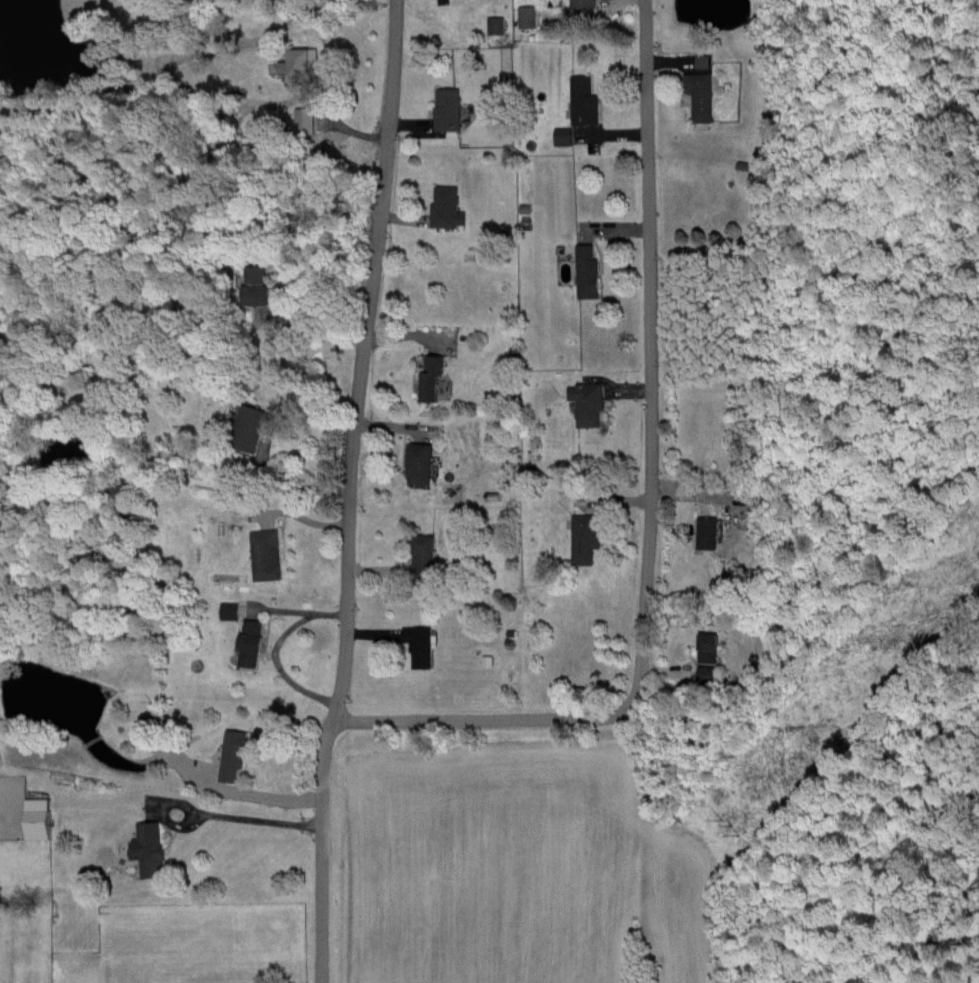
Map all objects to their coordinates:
building: (581, 3)
building: (525, 16)
building: (494, 25)
building: (702, 61)
building: (300, 64)
building: (699, 95)
building: (582, 100)
building: (446, 109)
building: (302, 119)
building: (562, 136)
building: (445, 205)
building: (586, 270)
building: (256, 283)
road: (315, 324)
building: (429, 376)
building: (586, 401)
building: (250, 425)
building: (419, 462)
road: (295, 484)
road: (347, 491)
road: (649, 504)
building: (707, 531)
building: (584, 536)
building: (264, 553)
building: (422, 553)
building: (228, 610)
building: (249, 642)
building: (418, 644)
building: (708, 646)
road: (275, 647)
building: (707, 671)
building: (231, 754)
road: (256, 789)
building: (36, 817)
road: (248, 817)
power tower: (735, 819)
building: (147, 848)

